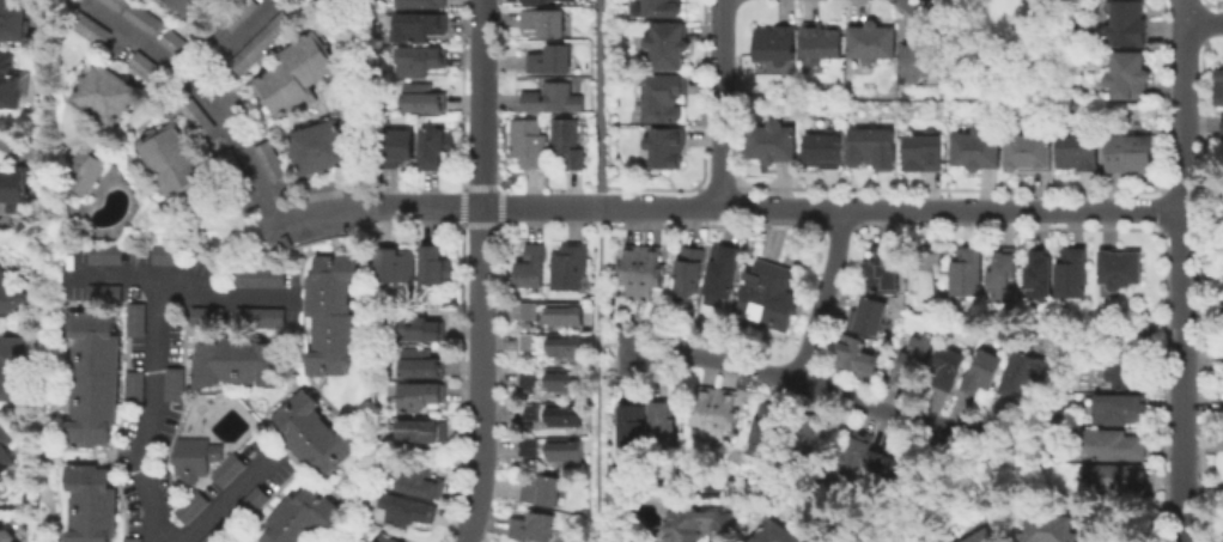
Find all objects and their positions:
building: (109, 2)
building: (541, 2)
building: (422, 5)
building: (183, 7)
building: (659, 10)
road: (1203, 19)
building: (12, 23)
building: (546, 24)
building: (1130, 25)
building: (419, 29)
road: (231, 38)
building: (256, 39)
building: (823, 43)
building: (874, 43)
building: (777, 45)
building: (668, 48)
building: (421, 62)
building: (552, 62)
building: (921, 62)
building: (291, 74)
building: (1131, 78)
building: (1219, 83)
building: (12, 84)
road: (206, 91)
building: (103, 93)
road: (602, 97)
building: (553, 99)
building: (665, 99)
building: (424, 101)
road: (719, 103)
building: (1222, 123)
building: (568, 144)
building: (530, 145)
building: (774, 145)
building: (315, 146)
building: (396, 148)
building: (667, 148)
building: (437, 150)
building: (875, 150)
building: (826, 151)
building: (979, 151)
building: (925, 153)
building: (1032, 153)
building: (1081, 154)
building: (1131, 156)
building: (266, 158)
building: (170, 160)
building: (17, 185)
building: (321, 188)
road: (438, 206)
road: (601, 208)
road: (890, 208)
building: (108, 254)
building: (170, 255)
building: (396, 263)
building: (437, 264)
building: (534, 266)
building: (570, 266)
building: (1122, 268)
building: (643, 270)
building: (724, 270)
building: (883, 270)
road: (1181, 270)
road: (482, 272)
building: (969, 272)
building: (1075, 272)
building: (690, 274)
building: (931, 274)
building: (1041, 275)
building: (1004, 276)
building: (262, 278)
road: (187, 290)
building: (105, 293)
building: (10, 294)
building: (769, 296)
road: (828, 296)
building: (530, 312)
building: (567, 313)
building: (334, 315)
building: (871, 316)
building: (209, 317)
building: (262, 317)
building: (138, 319)
building: (421, 328)
building: (530, 343)
building: (567, 345)
road: (608, 347)
building: (858, 357)
building: (242, 361)
building: (914, 361)
building: (422, 364)
road: (1203, 364)
building: (12, 366)
building: (949, 367)
building: (1131, 369)
building: (984, 372)
building: (1022, 373)
building: (529, 378)
building: (96, 379)
building: (565, 379)
road: (805, 379)
road: (597, 382)
building: (176, 384)
building: (136, 386)
building: (420, 397)
building: (1122, 409)
road: (153, 412)
building: (530, 414)
building: (566, 414)
building: (716, 414)
building: (664, 427)
building: (633, 428)
building: (767, 431)
building: (316, 433)
building: (420, 433)
building: (804, 441)
building: (1114, 445)
building: (6, 449)
building: (529, 449)
building: (566, 449)
building: (874, 457)
building: (193, 458)
building: (565, 467)
building: (231, 470)
building: (1119, 476)
building: (421, 481)
road: (1203, 487)
building: (543, 491)
road: (227, 500)
building: (627, 500)
building: (255, 503)
building: (93, 504)
building: (194, 506)
building: (408, 510)
building: (304, 517)
building: (698, 524)
building: (535, 526)
building: (1052, 528)
building: (778, 534)
building: (7, 535)
building: (220, 535)
building: (984, 536)
building: (388, 537)
building: (134, 540)

